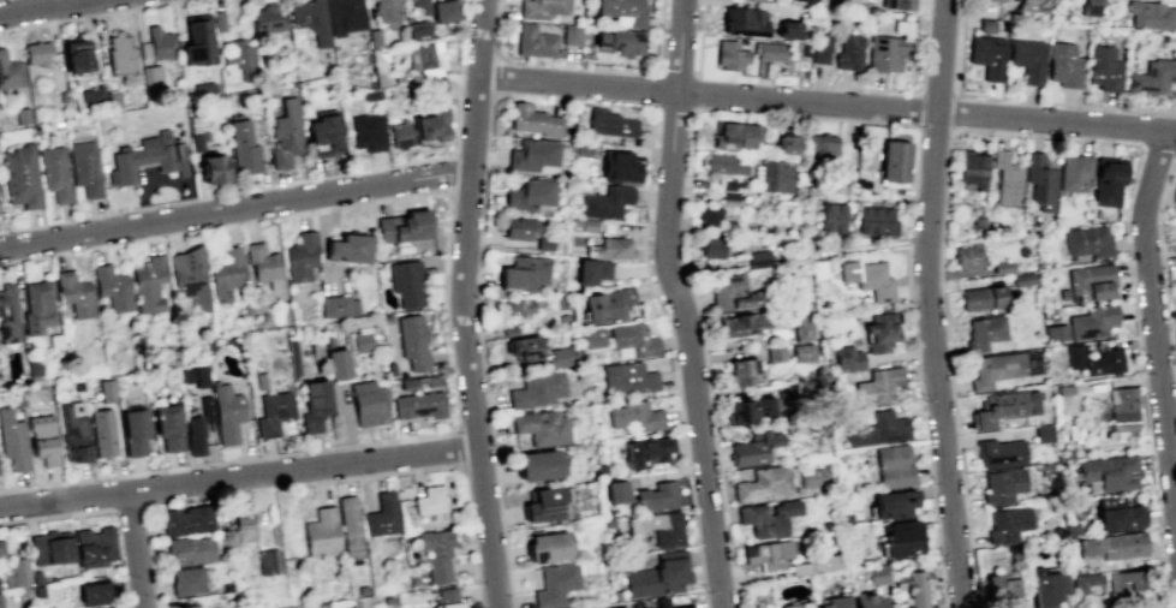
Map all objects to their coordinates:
building: (801, 0)
building: (999, 0)
building: (819, 1)
building: (896, 4)
building: (1031, 5)
road: (47, 7)
building: (1088, 7)
building: (437, 8)
building: (542, 8)
building: (386, 10)
building: (622, 11)
road: (86, 14)
building: (1150, 14)
building: (345, 16)
building: (268, 19)
building: (310, 19)
building: (217, 20)
building: (742, 20)
building: (986, 25)
building: (902, 28)
building: (787, 29)
building: (417, 30)
building: (571, 34)
building: (374, 37)
road: (698, 37)
building: (197, 40)
building: (157, 42)
building: (535, 42)
building: (620, 42)
building: (820, 47)
building: (805, 48)
building: (769, 50)
building: (848, 52)
building: (36, 53)
building: (119, 53)
building: (883, 53)
building: (729, 54)
building: (423, 55)
building: (986, 55)
building: (79, 56)
building: (1026, 59)
building: (239, 60)
building: (1063, 65)
building: (1103, 67)
building: (10, 71)
building: (428, 72)
road: (655, 72)
building: (150, 73)
road: (675, 73)
building: (1150, 77)
building: (436, 85)
building: (202, 89)
road: (655, 90)
road: (911, 90)
building: (267, 91)
road: (696, 91)
road: (938, 91)
building: (370, 94)
building: (91, 95)
road: (1019, 100)
road: (828, 103)
road: (673, 107)
road: (1174, 112)
building: (22, 115)
road: (794, 115)
road: (456, 118)
building: (532, 119)
building: (609, 123)
building: (430, 124)
road: (933, 127)
building: (366, 132)
building: (286, 133)
building: (399, 133)
building: (323, 136)
building: (735, 136)
road: (1038, 136)
building: (199, 141)
building: (786, 145)
building: (822, 145)
building: (243, 147)
building: (580, 148)
building: (532, 154)
building: (145, 157)
building: (893, 160)
building: (723, 163)
building: (619, 166)
building: (84, 167)
building: (213, 168)
building: (971, 168)
building: (1074, 172)
building: (54, 173)
building: (19, 175)
building: (772, 175)
road: (450, 177)
road: (159, 178)
building: (1004, 179)
building: (1040, 181)
building: (1108, 183)
building: (729, 192)
building: (531, 193)
building: (1174, 193)
building: (605, 202)
road: (235, 209)
building: (709, 216)
building: (830, 216)
building: (874, 219)
building: (977, 221)
building: (584, 223)
building: (402, 227)
building: (517, 227)
building: (1086, 240)
building: (544, 243)
building: (712, 246)
building: (347, 248)
building: (613, 248)
building: (968, 255)
road: (1163, 255)
building: (299, 256)
building: (758, 258)
building: (262, 262)
building: (1002, 267)
building: (817, 268)
building: (591, 272)
building: (524, 273)
building: (225, 274)
building: (189, 276)
building: (867, 278)
building: (1022, 279)
building: (405, 281)
building: (1088, 281)
building: (149, 284)
building: (112, 287)
building: (74, 293)
building: (730, 293)
building: (983, 297)
road: (462, 304)
building: (607, 304)
road: (679, 304)
road: (929, 304)
building: (336, 305)
building: (37, 306)
building: (517, 306)
building: (245, 311)
building: (7, 314)
road: (1154, 315)
building: (384, 318)
building: (563, 318)
building: (744, 322)
building: (1091, 322)
building: (800, 326)
building: (509, 330)
building: (879, 330)
building: (984, 332)
building: (592, 336)
building: (632, 338)
building: (54, 340)
building: (328, 341)
building: (360, 341)
building: (413, 341)
building: (524, 347)
building: (314, 348)
road: (480, 351)
building: (802, 352)
building: (775, 353)
road: (673, 354)
building: (292, 357)
building: (559, 357)
building: (847, 357)
building: (1094, 359)
building: (1031, 362)
building: (336, 363)
building: (390, 368)
building: (995, 368)
building: (32, 370)
building: (740, 371)
building: (195, 375)
building: (628, 377)
building: (430, 380)
building: (259, 381)
building: (407, 383)
building: (76, 386)
building: (878, 386)
building: (105, 389)
building: (537, 389)
building: (1063, 389)
building: (784, 391)
building: (592, 399)
building: (366, 403)
building: (314, 404)
building: (418, 405)
building: (1005, 406)
building: (205, 407)
building: (748, 409)
building: (1122, 409)
building: (271, 412)
building: (226, 413)
building: (633, 416)
building: (167, 427)
building: (542, 427)
building: (877, 429)
building: (133, 430)
building: (101, 431)
building: (73, 433)
building: (1043, 433)
building: (193, 435)
road: (418, 436)
building: (42, 437)
building: (12, 441)
road: (455, 448)
building: (753, 449)
building: (645, 452)
building: (999, 452)
building: (537, 464)
road: (436, 465)
building: (893, 465)
building: (601, 470)
building: (1110, 471)
building: (812, 477)
road: (239, 478)
building: (763, 483)
building: (1001, 485)
building: (615, 491)
building: (656, 496)
building: (429, 500)
building: (893, 503)
building: (545, 505)
building: (381, 515)
building: (1118, 517)
building: (766, 518)
building: (844, 518)
building: (186, 520)
building: (608, 521)
building: (1007, 524)
building: (244, 526)
building: (350, 527)
building: (659, 527)
building: (321, 532)
building: (901, 538)
building: (547, 546)
building: (1112, 546)
building: (0, 547)
building: (94, 547)
building: (49, 548)
road: (135, 550)
building: (187, 550)
building: (435, 553)
building: (766, 554)
building: (268, 561)
building: (814, 564)
building: (16, 573)
building: (876, 574)
building: (658, 576)
building: (35, 577)
building: (411, 578)
building: (186, 580)
building: (1123, 580)
building: (1084, 582)
building: (554, 584)
building: (913, 586)
building: (1045, 586)
building: (1002, 589)
building: (37, 590)
building: (362, 590)
building: (91, 592)
building: (446, 598)
building: (387, 600)
building: (866, 600)
building: (831, 601)
building: (352, 603)
building: (0, 604)
building: (323, 604)
building: (795, 604)
building: (187, 606)
building: (109, 607)
building: (621, 607)
building: (687, 607)

